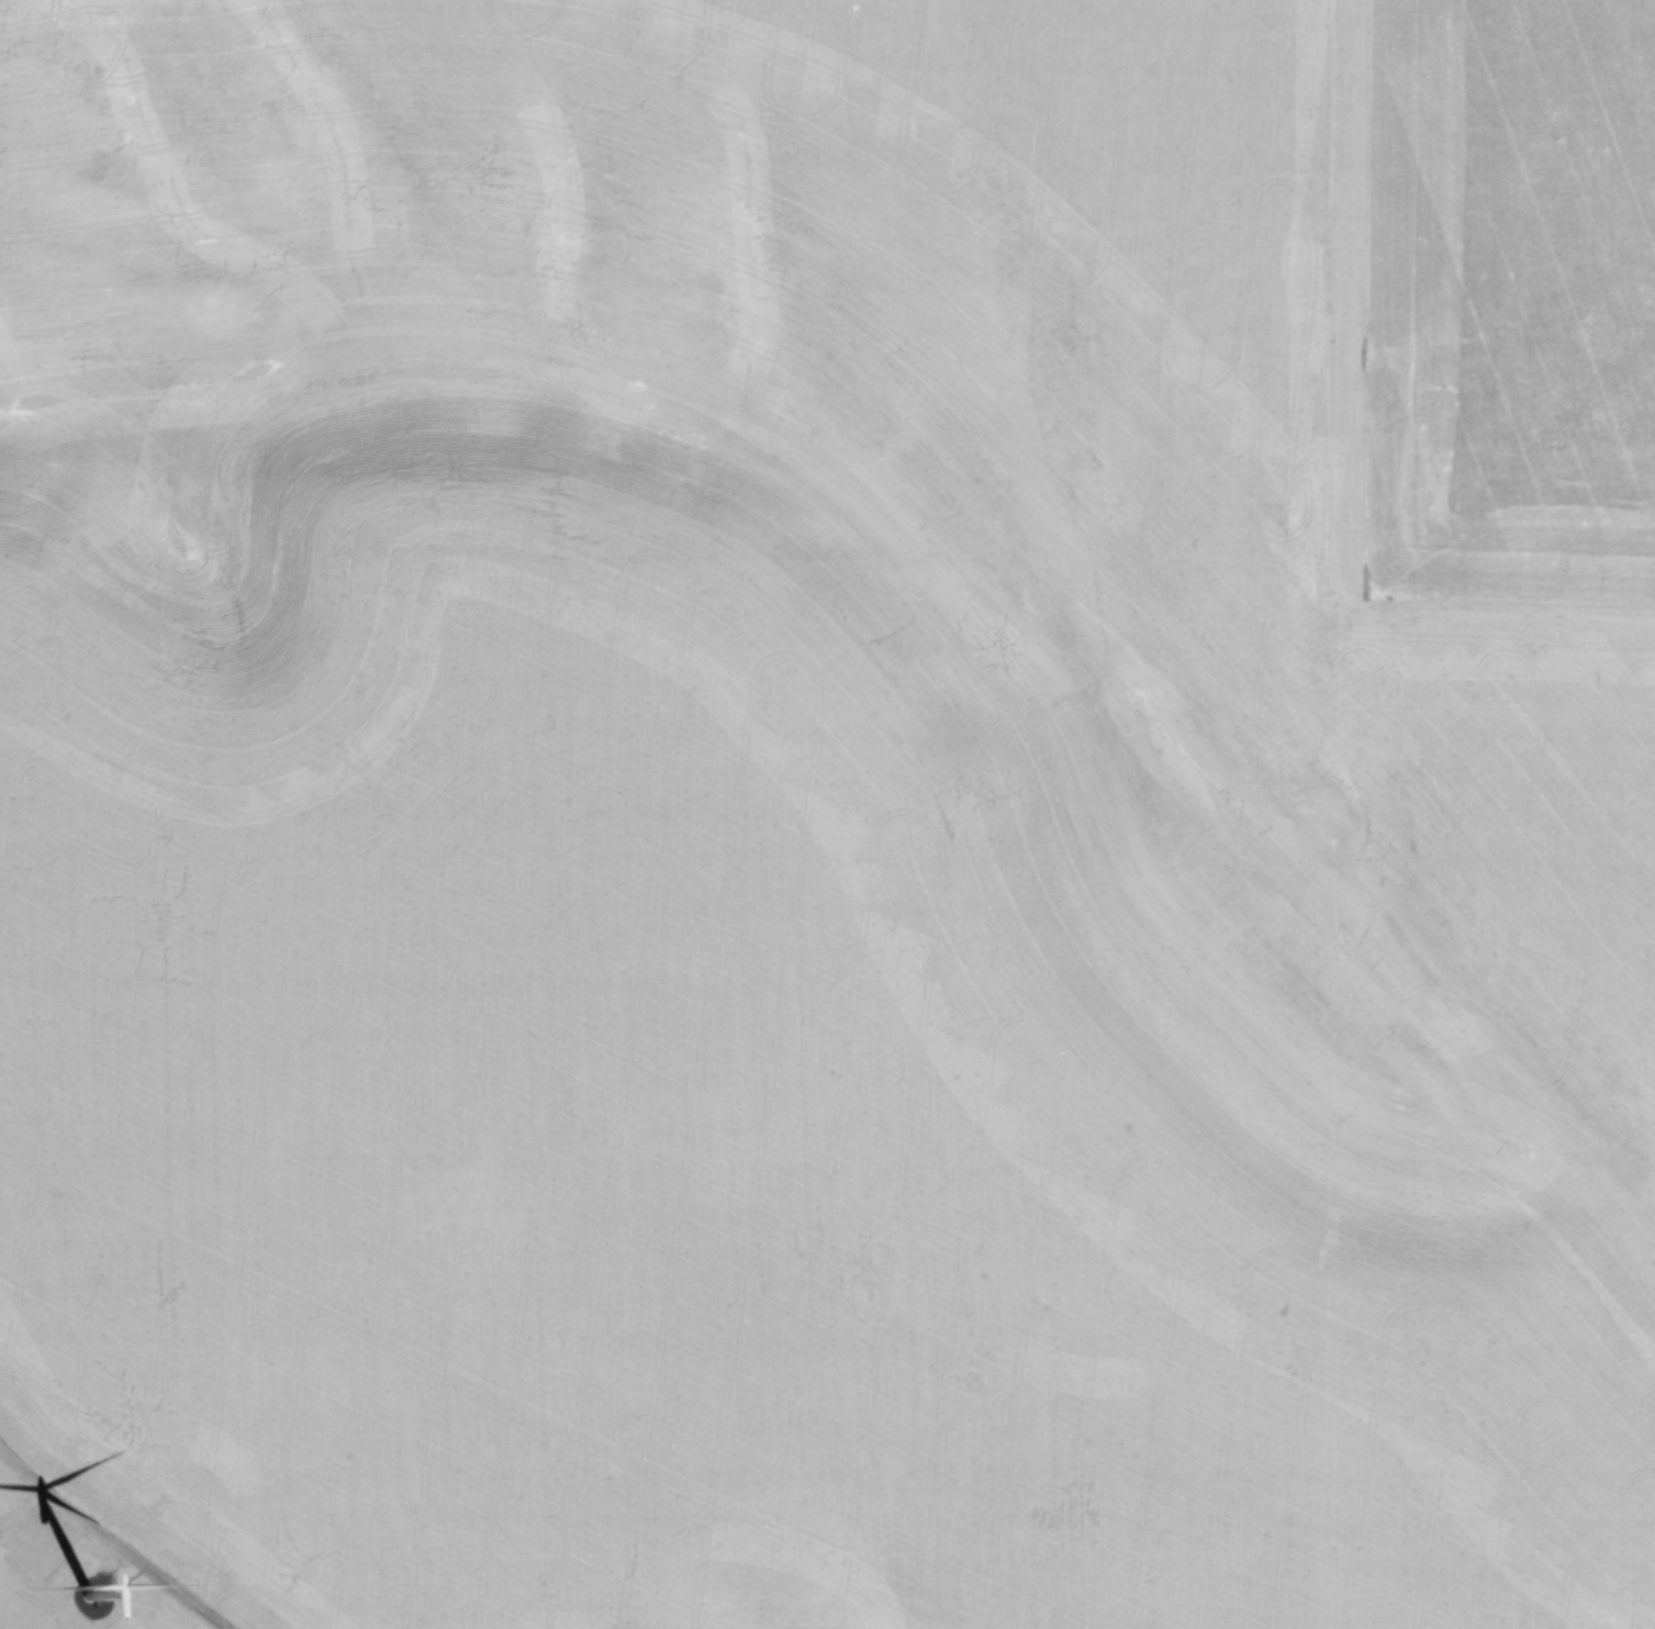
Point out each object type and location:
road: (114, 1541)
wind turbine: (87, 1592)

